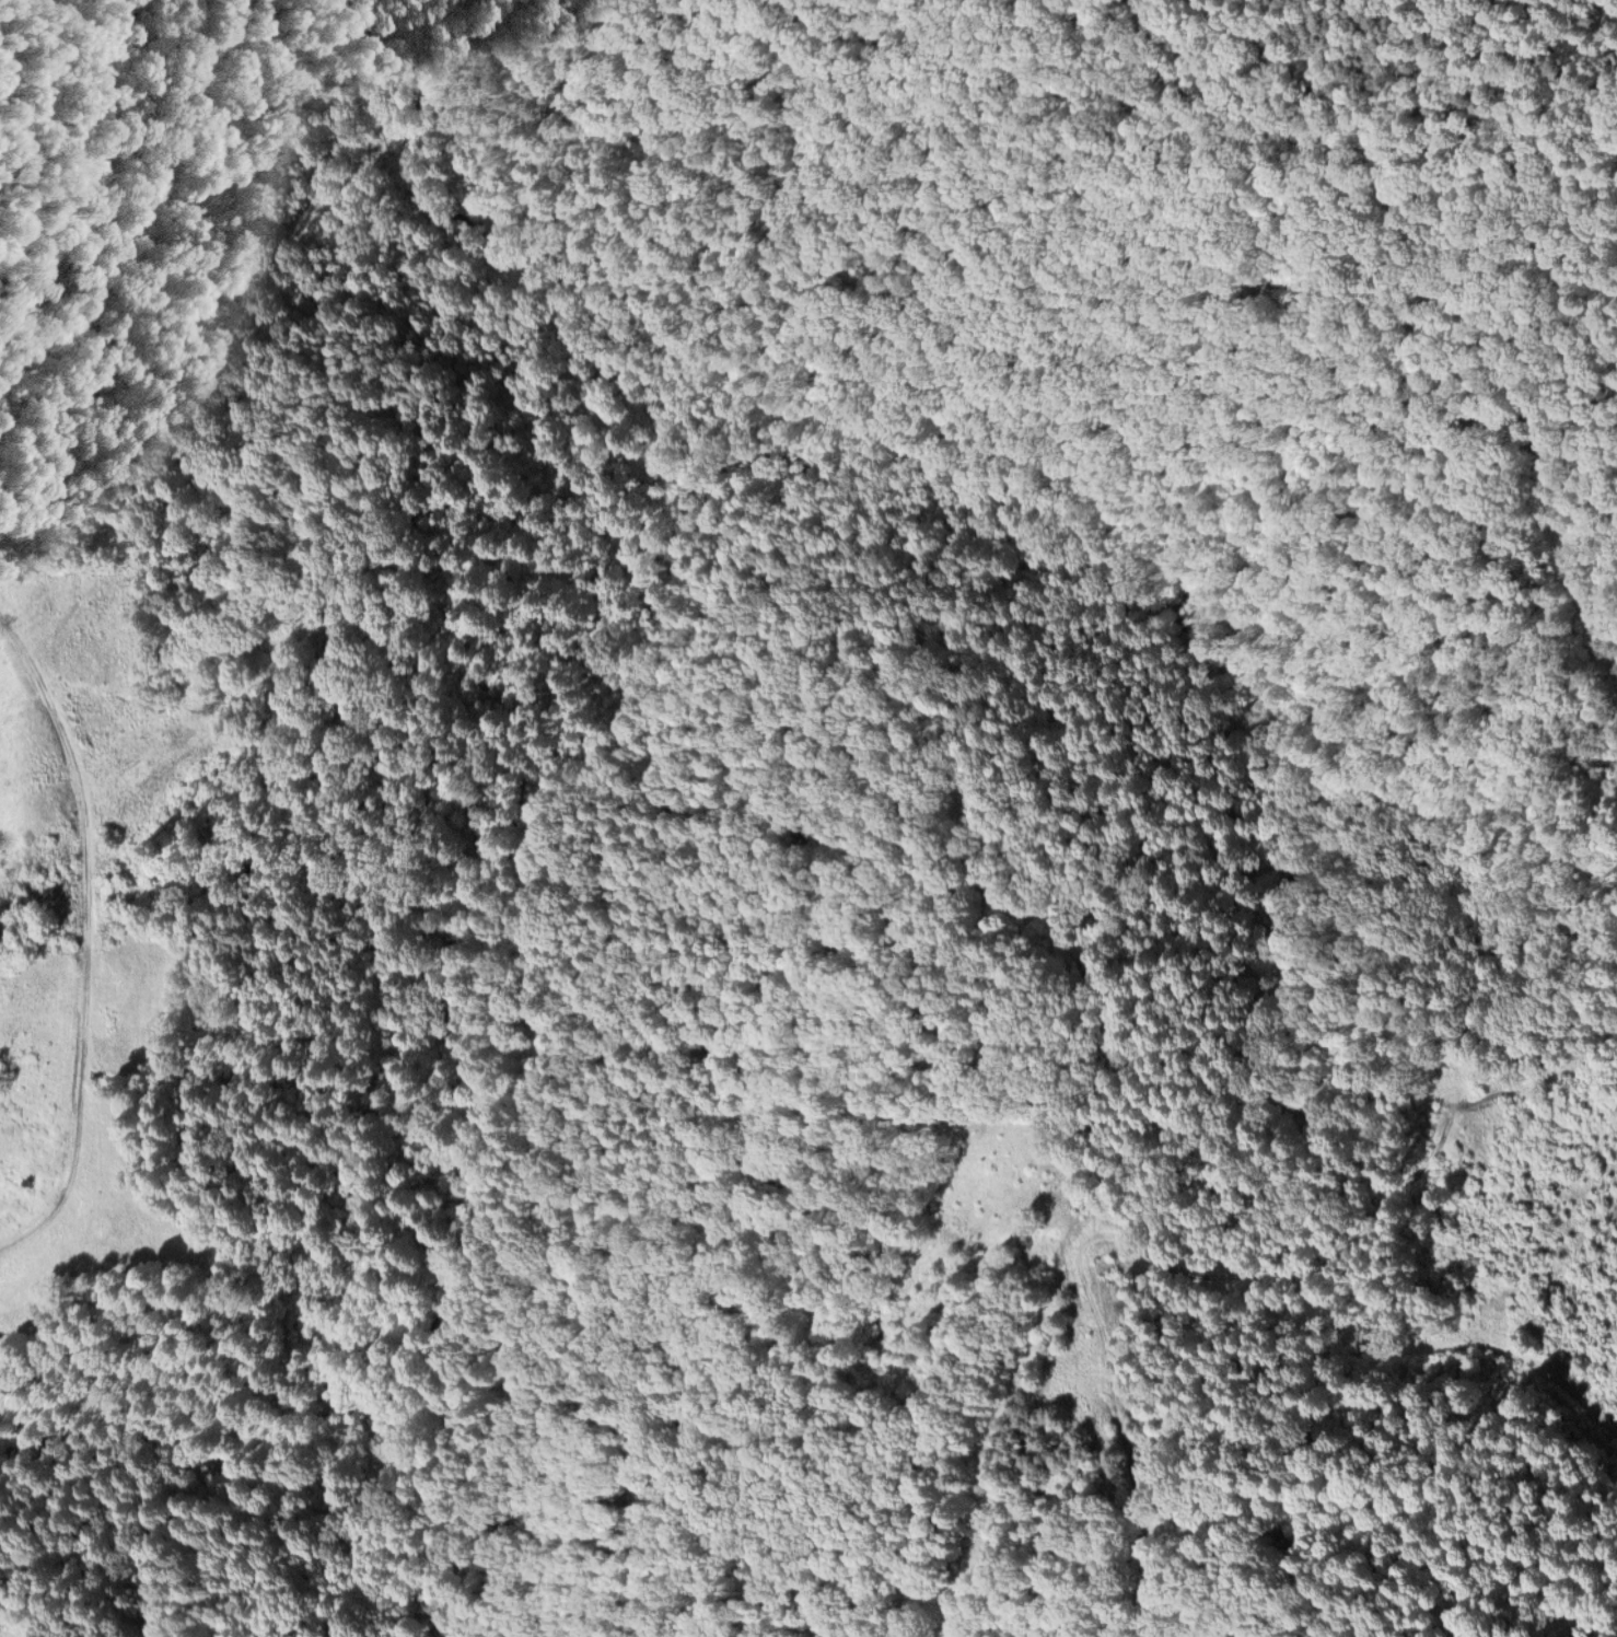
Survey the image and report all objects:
road: (1282, 49)
road: (1590, 49)
road: (1522, 382)
road: (1587, 472)
road: (88, 934)
building: (1436, 1102)
road: (1190, 1249)
road: (1449, 1347)
road: (984, 1429)

